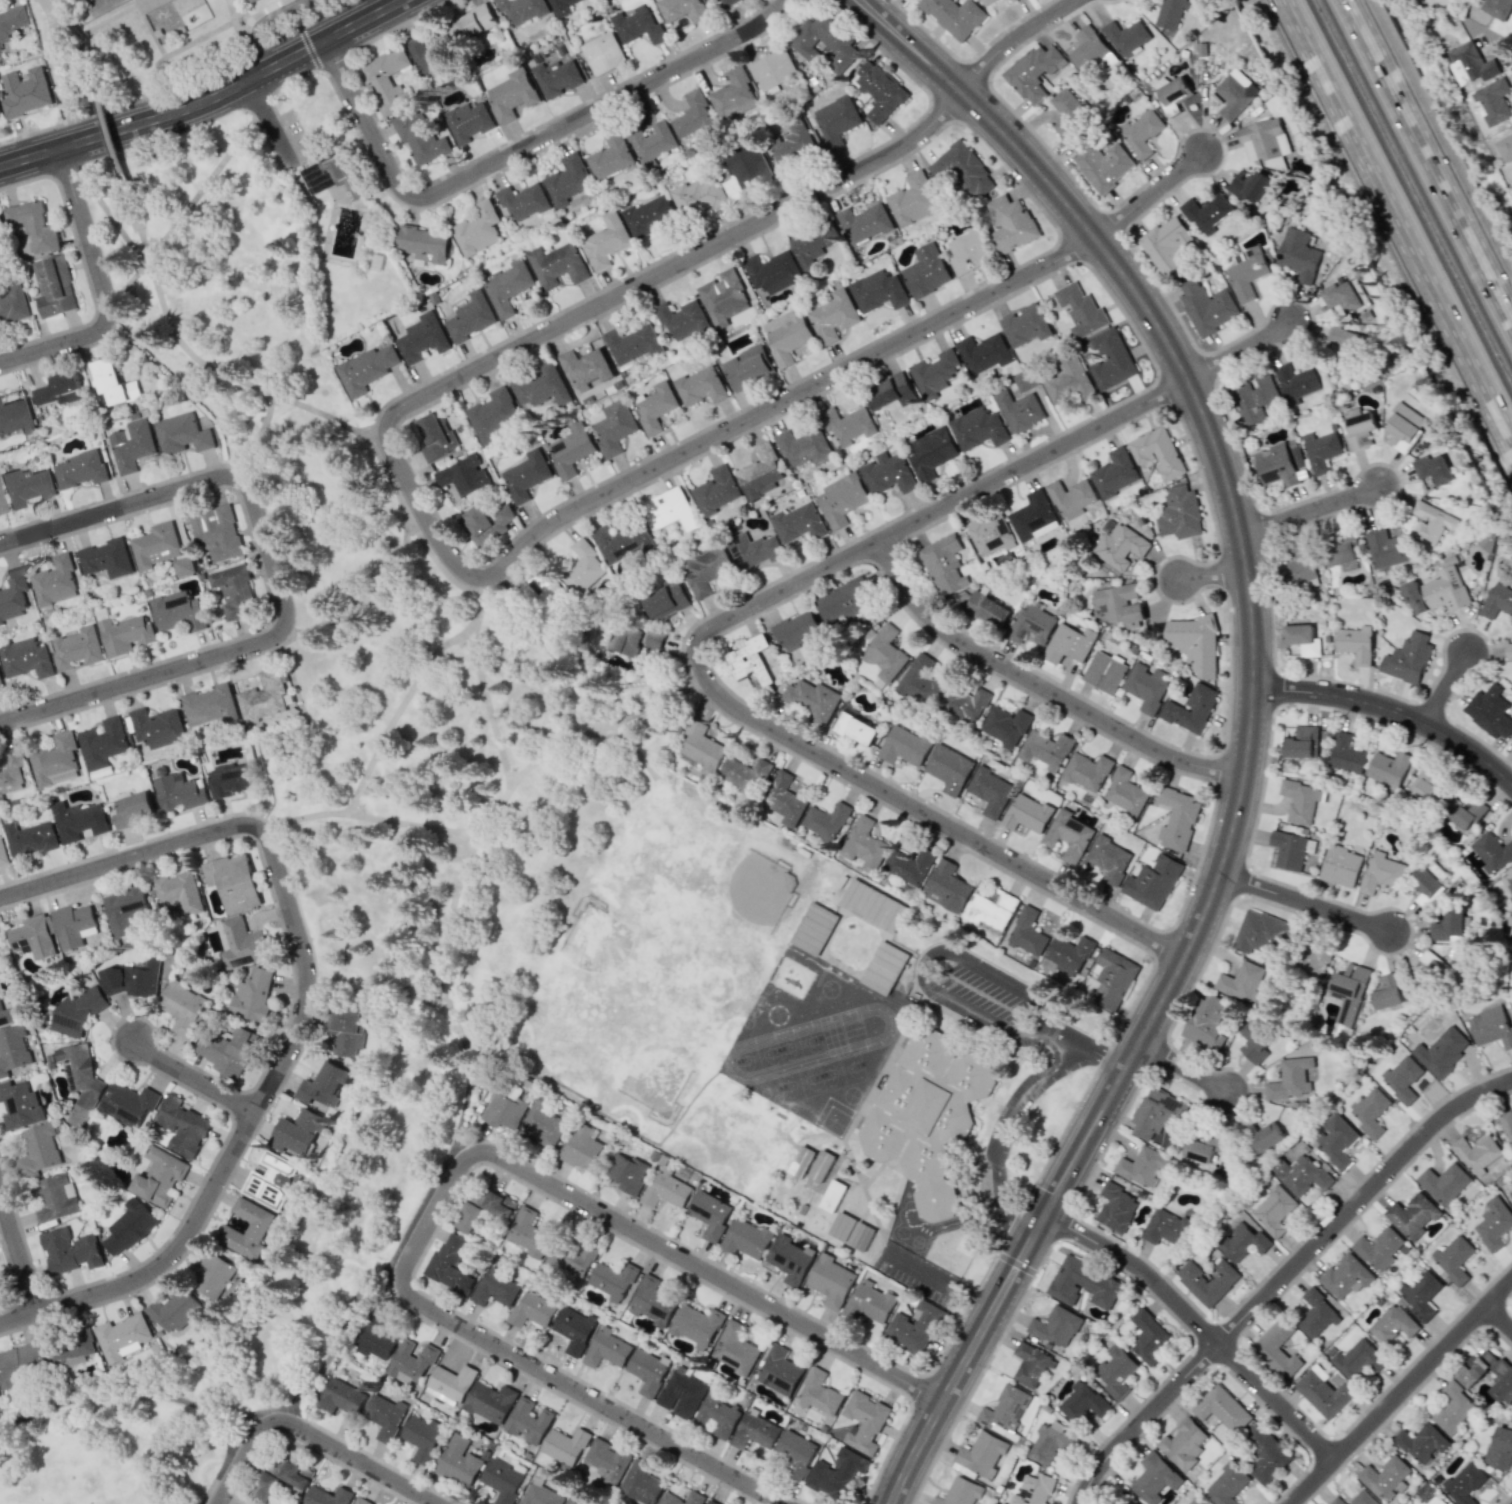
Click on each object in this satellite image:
building: (250, 0)
building: (252, 0)
building: (1012, 0)
building: (729, 2)
building: (986, 2)
building: (151, 5)
road: (382, 5)
building: (561, 7)
building: (1496, 8)
building: (522, 9)
building: (682, 9)
building: (1169, 14)
building: (954, 16)
building: (12, 21)
building: (473, 23)
road: (267, 25)
building: (637, 25)
building: (1126, 36)
road: (1013, 37)
road: (63, 38)
building: (825, 42)
building: (0, 48)
building: (1088, 49)
building: (432, 51)
building: (603, 53)
building: (1470, 63)
building: (773, 69)
road: (55, 71)
building: (1033, 72)
building: (557, 78)
building: (387, 81)
building: (879, 90)
building: (26, 92)
building: (1234, 93)
building: (1173, 94)
building: (512, 95)
building: (734, 95)
road: (209, 99)
building: (1492, 100)
building: (1068, 111)
building: (0, 113)
building: (693, 117)
building: (836, 120)
building: (468, 121)
road: (269, 127)
building: (1141, 132)
road: (108, 134)
parking lot: (294, 136)
building: (419, 137)
building: (1263, 140)
building: (651, 142)
building: (793, 145)
road: (523, 147)
building: (1504, 148)
building: (610, 156)
building: (1100, 162)
road: (1430, 162)
building: (962, 169)
building: (745, 170)
road: (209, 175)
building: (328, 175)
building: (568, 180)
building: (1249, 185)
road: (1149, 194)
building: (696, 196)
building: (912, 200)
building: (523, 201)
building: (1206, 212)
building: (648, 215)
road: (1399, 220)
building: (865, 222)
building: (1010, 224)
building: (34, 225)
building: (477, 228)
building: (1, 234)
building: (606, 241)
building: (423, 244)
building: (813, 244)
building: (1167, 246)
building: (968, 252)
building: (1298, 254)
building: (557, 265)
building: (926, 270)
building: (772, 271)
building: (1246, 272)
building: (507, 286)
building: (54, 287)
road: (104, 290)
building: (878, 291)
building: (1341, 296)
building: (724, 297)
road: (1142, 301)
building: (13, 305)
building: (1207, 306)
building: (1080, 310)
building: (833, 316)
building: (469, 317)
building: (682, 319)
building: (1025, 325)
building: (787, 335)
building: (422, 338)
building: (631, 344)
building: (1344, 348)
building: (984, 353)
building: (1110, 359)
building: (748, 367)
building: (587, 368)
building: (365, 369)
building: (935, 373)
building: (1024, 381)
building: (1069, 381)
building: (113, 383)
building: (1295, 383)
building: (540, 386)
building: (700, 386)
building: (58, 389)
building: (891, 391)
building: (1256, 399)
road: (289, 400)
building: (655, 407)
building: (1019, 410)
building: (492, 414)
building: (15, 416)
building: (848, 424)
building: (1404, 425)
building: (614, 427)
building: (978, 428)
building: (1358, 430)
building: (181, 434)
building: (435, 437)
building: (131, 445)
building: (803, 446)
building: (571, 450)
building: (1320, 450)
building: (932, 452)
building: (1157, 452)
building: (1279, 463)
building: (80, 469)
building: (1433, 470)
building: (760, 471)
building: (888, 473)
building: (1114, 473)
building: (526, 475)
building: (463, 476)
building: (25, 486)
building: (716, 490)
building: (1071, 498)
building: (1, 506)
building: (669, 509)
road: (1308, 510)
building: (1180, 513)
building: (1033, 516)
building: (1431, 522)
building: (798, 523)
building: (486, 524)
road: (430, 525)
building: (217, 533)
building: (991, 534)
building: (1485, 540)
building: (624, 541)
building: (157, 546)
building: (1121, 547)
building: (1385, 547)
building: (754, 550)
building: (1343, 552)
building: (106, 558)
building: (944, 565)
building: (1299, 565)
building: (184, 566)
building: (584, 568)
road: (1211, 576)
road: (274, 577)
building: (56, 581)
building: (541, 586)
building: (233, 589)
building: (1436, 591)
building: (13, 595)
building: (666, 599)
building: (845, 601)
building: (1497, 601)
building: (1120, 605)
building: (987, 609)
building: (178, 611)
road: (728, 621)
building: (1031, 626)
building: (798, 629)
building: (125, 635)
building: (634, 638)
building: (1302, 639)
building: (1194, 642)
building: (1069, 643)
building: (1355, 643)
building: (77, 648)
building: (1508, 651)
building: (885, 652)
building: (25, 658)
building: (1407, 658)
building: (750, 660)
building: (1104, 672)
building: (922, 680)
road: (1041, 686)
building: (0, 687)
building: (1146, 687)
road: (1445, 689)
building: (263, 697)
building: (813, 699)
building: (965, 702)
building: (210, 705)
building: (1191, 708)
road: (1392, 711)
building: (1489, 711)
building: (1006, 726)
building: (157, 727)
building: (856, 728)
building: (1302, 742)
building: (103, 743)
building: (906, 745)
building: (702, 747)
building: (1046, 749)
building: (1346, 754)
building: (56, 760)
park: (346, 762)
building: (949, 768)
building: (11, 771)
building: (1086, 771)
building: (1387, 771)
building: (744, 773)
building: (231, 780)
building: (1428, 785)
building: (179, 791)
building: (989, 791)
building: (1124, 791)
building: (784, 799)
building: (1301, 800)
building: (132, 810)
building: (1027, 813)
building: (1464, 813)
building: (1177, 819)
building: (78, 820)
building: (825, 820)
building: (1069, 835)
building: (30, 838)
building: (863, 846)
building: (1492, 852)
building: (3, 853)
building: (1109, 858)
building: (909, 865)
building: (1340, 866)
building: (1380, 872)
building: (1507, 880)
building: (233, 881)
building: (1152, 882)
building: (1426, 885)
building: (946, 886)
building: (179, 892)
road: (1306, 903)
building: (873, 905)
building: (125, 909)
building: (990, 909)
building: (74, 926)
building: (1448, 927)
building: (814, 929)
building: (1027, 932)
building: (1262, 933)
building: (33, 937)
building: (242, 944)
building: (1068, 954)
road: (939, 955)
building: (1311, 962)
building: (884, 967)
building: (1430, 970)
building: (133, 978)
building: (1111, 979)
building: (1242, 981)
building: (1348, 992)
building: (1387, 992)
building: (253, 994)
building: (184, 1007)
building: (78, 1010)
road: (301, 1013)
building: (7, 1016)
road: (449, 1016)
building: (1207, 1022)
building: (1491, 1027)
building: (347, 1031)
building: (1255, 1042)
building: (13, 1049)
building: (1441, 1051)
building: (229, 1052)
road: (1184, 1068)
building: (1402, 1078)
road: (194, 1079)
building: (80, 1080)
building: (1292, 1080)
building: (325, 1086)
building: (128, 1104)
building: (20, 1105)
road: (1103, 1108)
building: (504, 1109)
building: (1156, 1112)
building: (1370, 1112)
building: (927, 1114)
building: (1507, 1125)
building: (182, 1126)
building: (544, 1127)
building: (299, 1131)
building: (1264, 1136)
building: (1336, 1140)
road: (997, 1144)
building: (1203, 1145)
building: (582, 1148)
building: (38, 1150)
building: (1477, 1153)
building: (801, 1161)
building: (821, 1165)
building: (1143, 1166)
building: (627, 1172)
building: (1300, 1174)
building: (159, 1176)
road: (455, 1176)
building: (270, 1180)
building: (1444, 1183)
building: (666, 1190)
building: (1511, 1193)
building: (832, 1195)
building: (56, 1198)
building: (500, 1204)
building: (1116, 1207)
building: (1275, 1211)
building: (710, 1214)
building: (1412, 1215)
building: (468, 1217)
building: (1493, 1223)
building: (129, 1226)
building: (257, 1228)
building: (1166, 1228)
building: (851, 1231)
building: (528, 1233)
building: (746, 1238)
building: (1243, 1242)
building: (1379, 1248)
building: (70, 1250)
road: (19, 1251)
building: (571, 1258)
building: (790, 1259)
building: (1453, 1259)
building: (451, 1264)
building: (213, 1275)
building: (1346, 1276)
road: (1282, 1277)
building: (613, 1280)
building: (830, 1280)
building: (1207, 1281)
building: (1083, 1283)
building: (496, 1288)
road: (935, 1288)
building: (1421, 1295)
building: (652, 1302)
building: (870, 1302)
building: (176, 1310)
building: (532, 1310)
building: (1317, 1314)
road: (1501, 1316)
building: (1393, 1324)
road: (1200, 1325)
building: (696, 1326)
building: (914, 1327)
building: (1056, 1327)
building: (574, 1330)
building: (1148, 1336)
building: (122, 1337)
building: (376, 1342)
building: (607, 1348)
building: (734, 1348)
building: (69, 1349)
building: (1277, 1349)
building: (1358, 1360)
building: (411, 1362)
building: (1031, 1363)
building: (21, 1365)
building: (647, 1371)
building: (779, 1371)
building: (1117, 1371)
building: (451, 1383)
building: (1502, 1383)
building: (1323, 1392)
building: (682, 1393)
building: (819, 1393)
road: (1401, 1393)
building: (341, 1396)
building: (490, 1402)
building: (1082, 1403)
building: (1222, 1408)
building: (1453, 1408)
building: (1004, 1410)
building: (717, 1415)
building: (385, 1416)
building: (528, 1421)
building: (864, 1421)
building: (754, 1431)
road: (235, 1437)
road: (310, 1437)
building: (423, 1437)
building: (1422, 1442)
building: (1050, 1443)
building: (1183, 1444)
building: (565, 1445)
building: (1500, 1449)
building: (796, 1452)
building: (981, 1453)
building: (1265, 1453)
building: (608, 1460)
building: (459, 1461)
building: (836, 1474)
building: (1384, 1476)
building: (281, 1478)
building: (1155, 1478)
building: (503, 1480)
building: (641, 1483)
building: (1464, 1483)
building: (1226, 1485)
building: (1033, 1490)
building: (961, 1492)
building: (540, 1494)
building: (327, 1496)
building: (681, 1498)
building: (1362, 1498)
building: (361, 1500)
building: (1436, 1500)
building: (1195, 1501)
building: (1337, 1501)
building: (242, 1502)
building: (569, 1502)
building: (711, 1502)
building: (1126, 1503)

